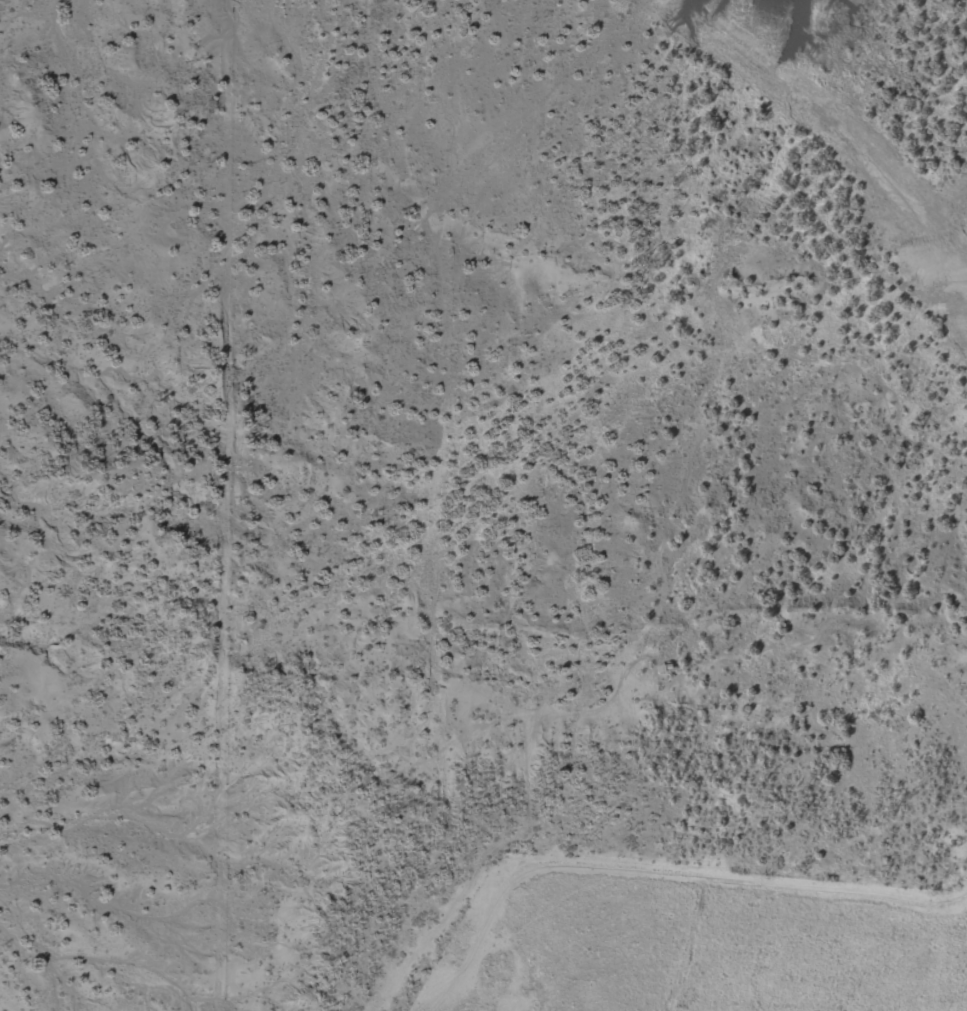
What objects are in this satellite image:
building: (666, 670)

